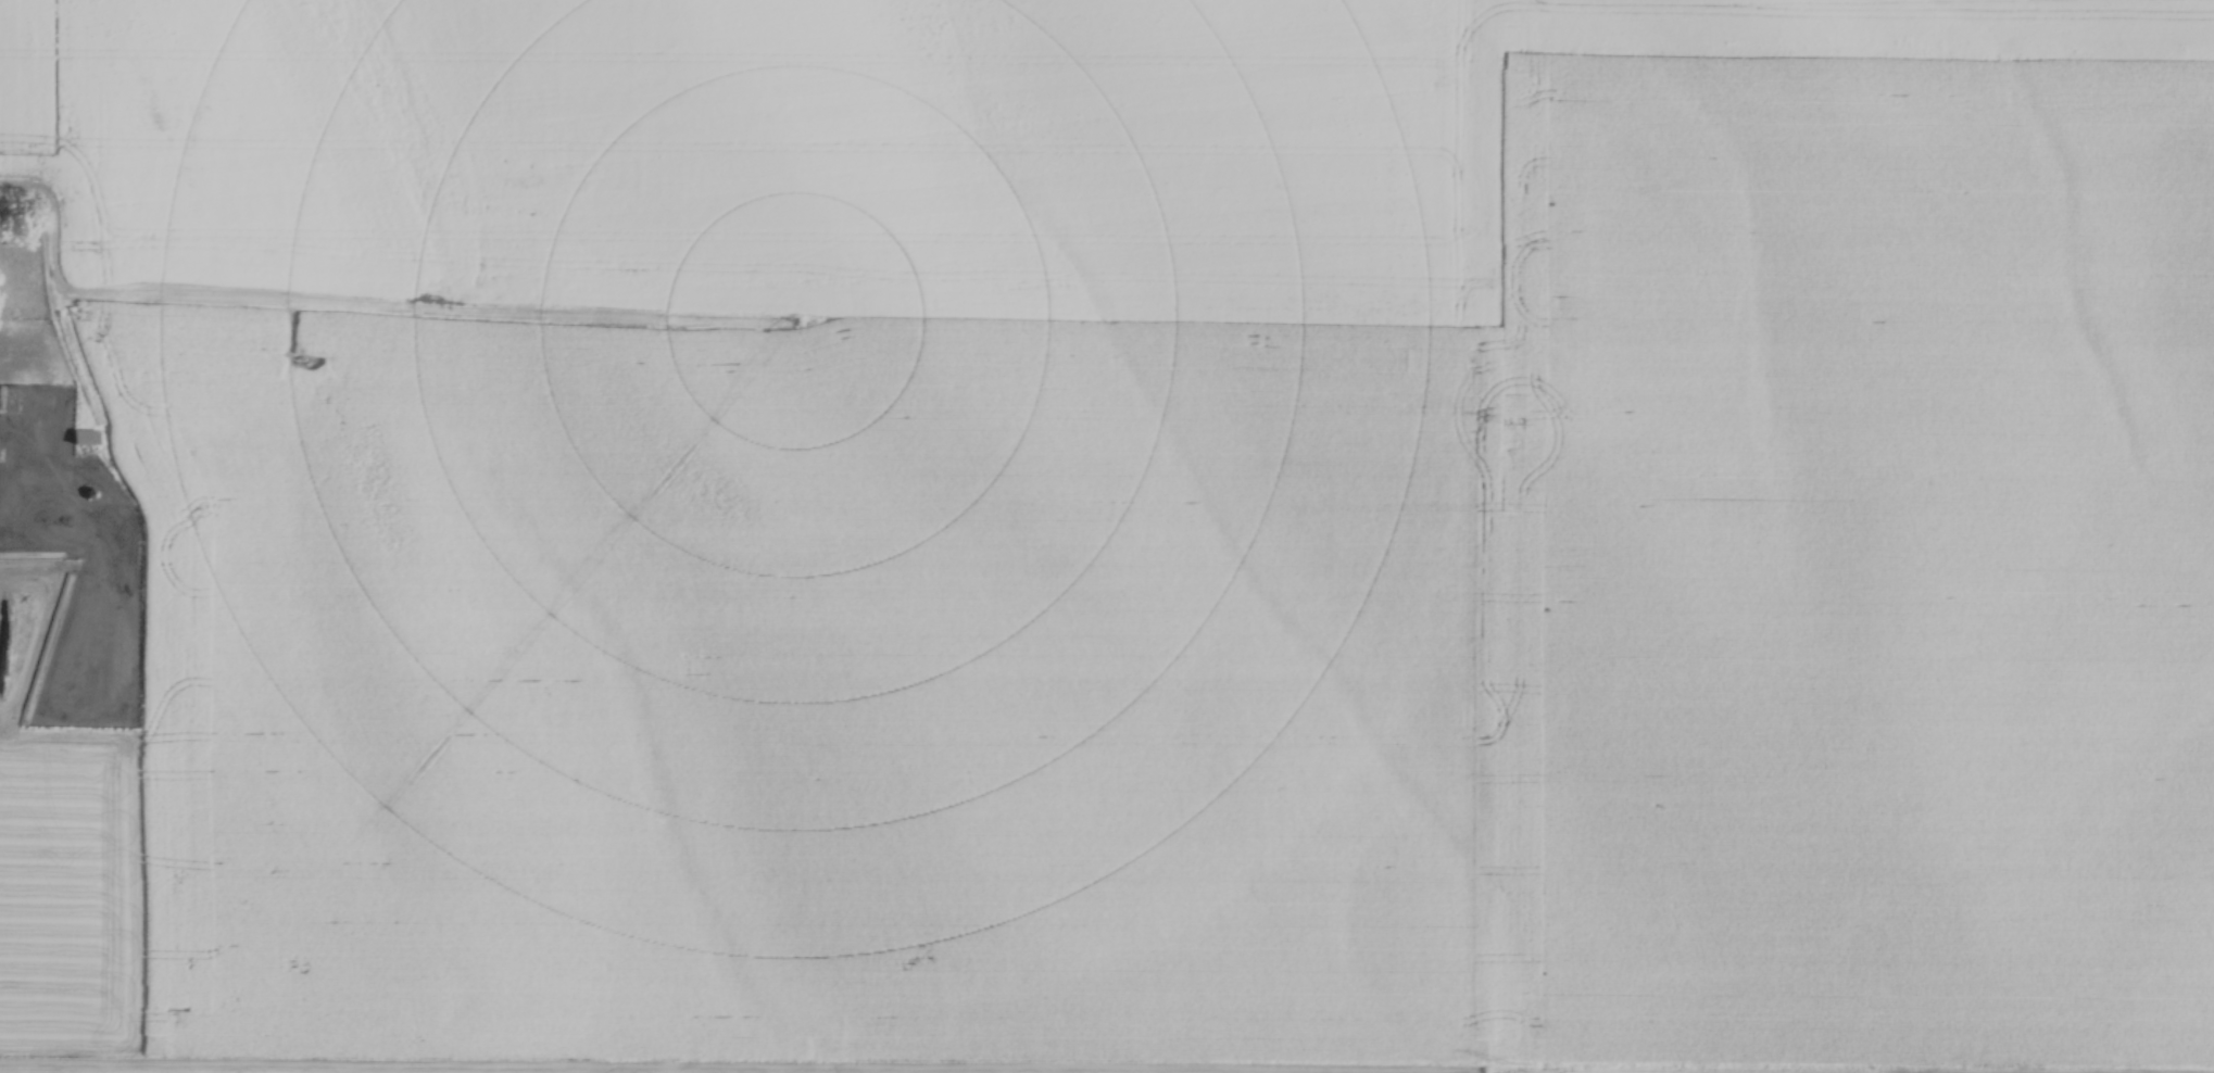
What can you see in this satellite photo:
power tower: (1515, 424)
building: (85, 437)
power tower: (1505, 1064)

